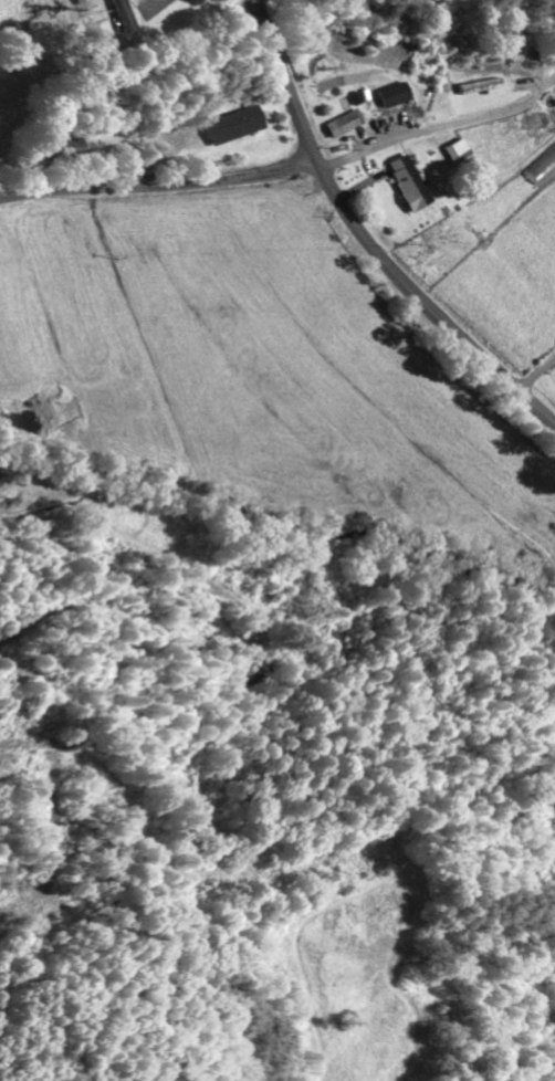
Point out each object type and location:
building: (117, 14)
building: (494, 84)
building: (395, 95)
road: (479, 118)
building: (344, 124)
building: (235, 125)
building: (459, 151)
building: (409, 182)
road: (160, 189)
road: (367, 238)
road: (537, 375)

